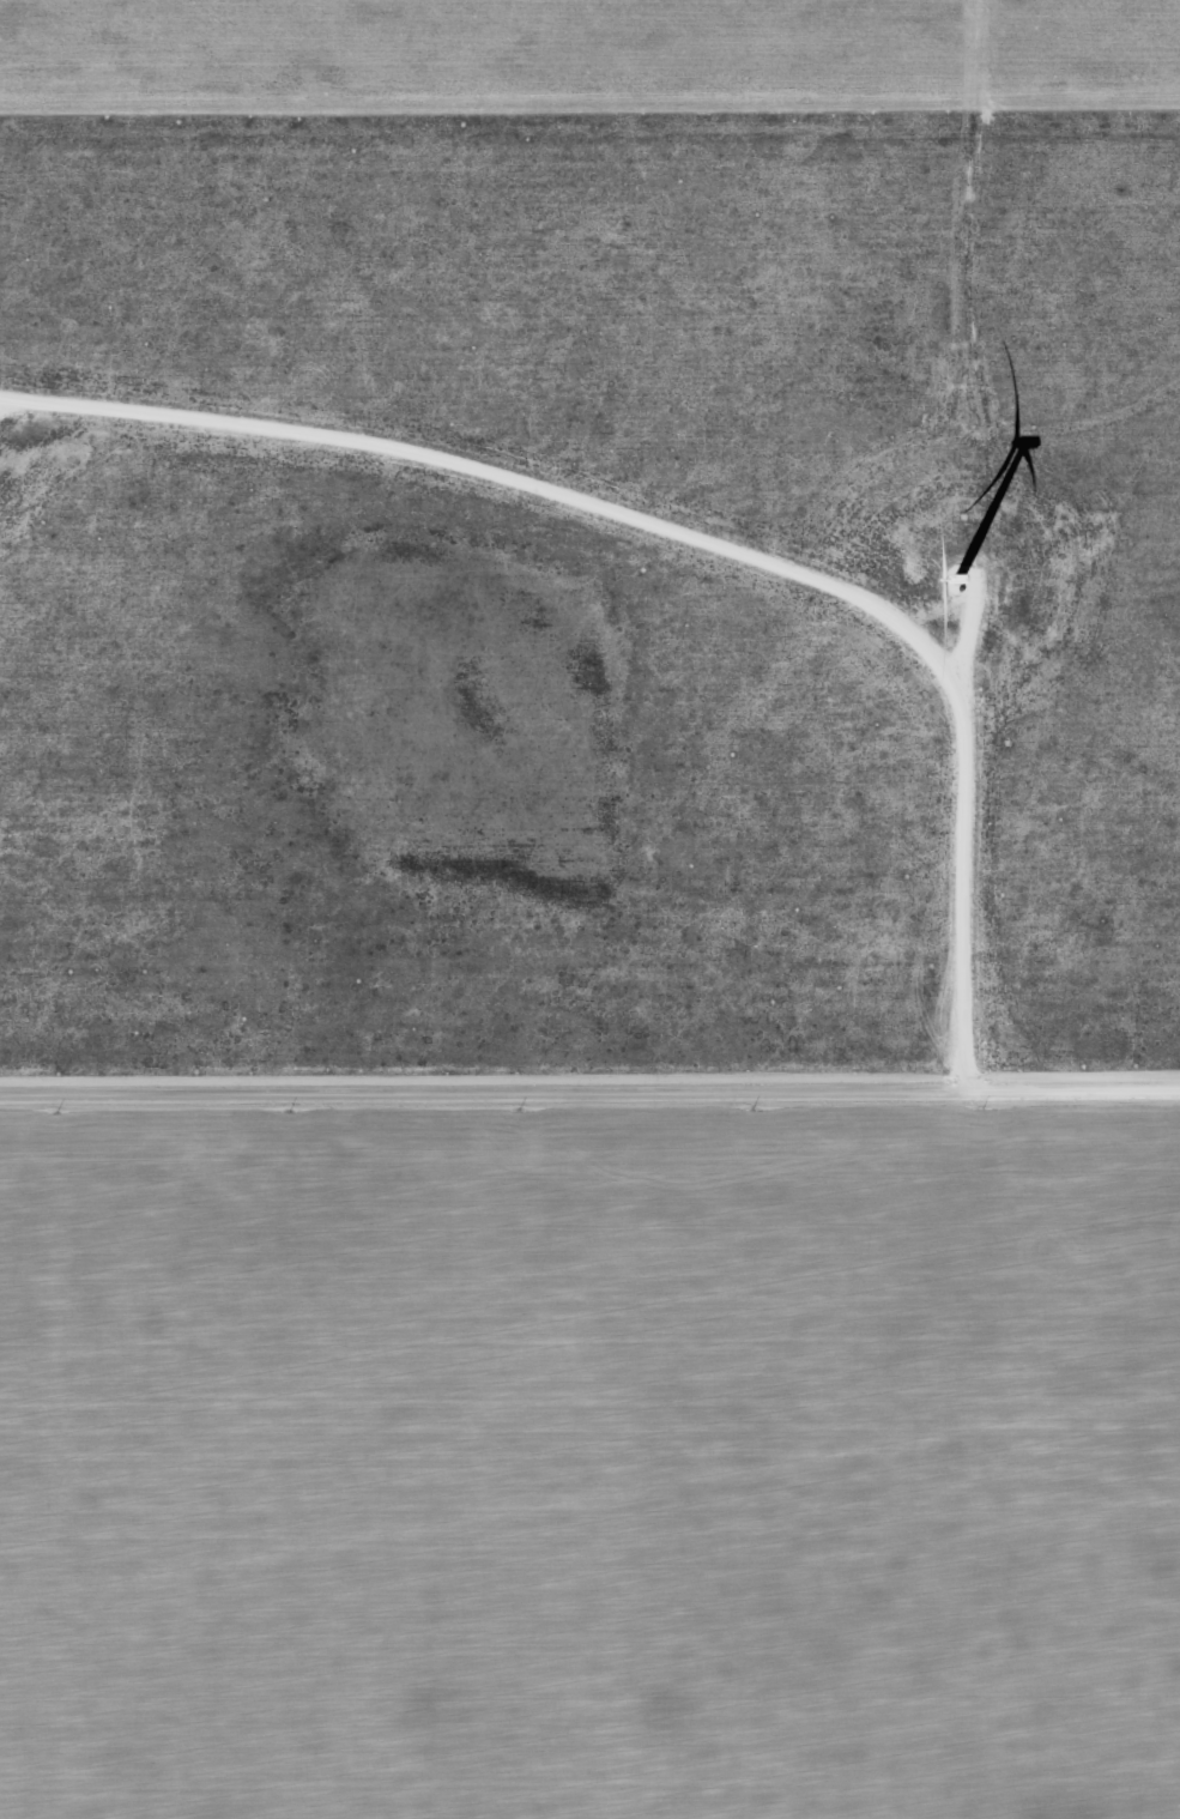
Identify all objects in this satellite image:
road: (2, 399)
road: (692, 538)
wind turbine: (956, 584)
road: (966, 635)
road: (589, 1089)

